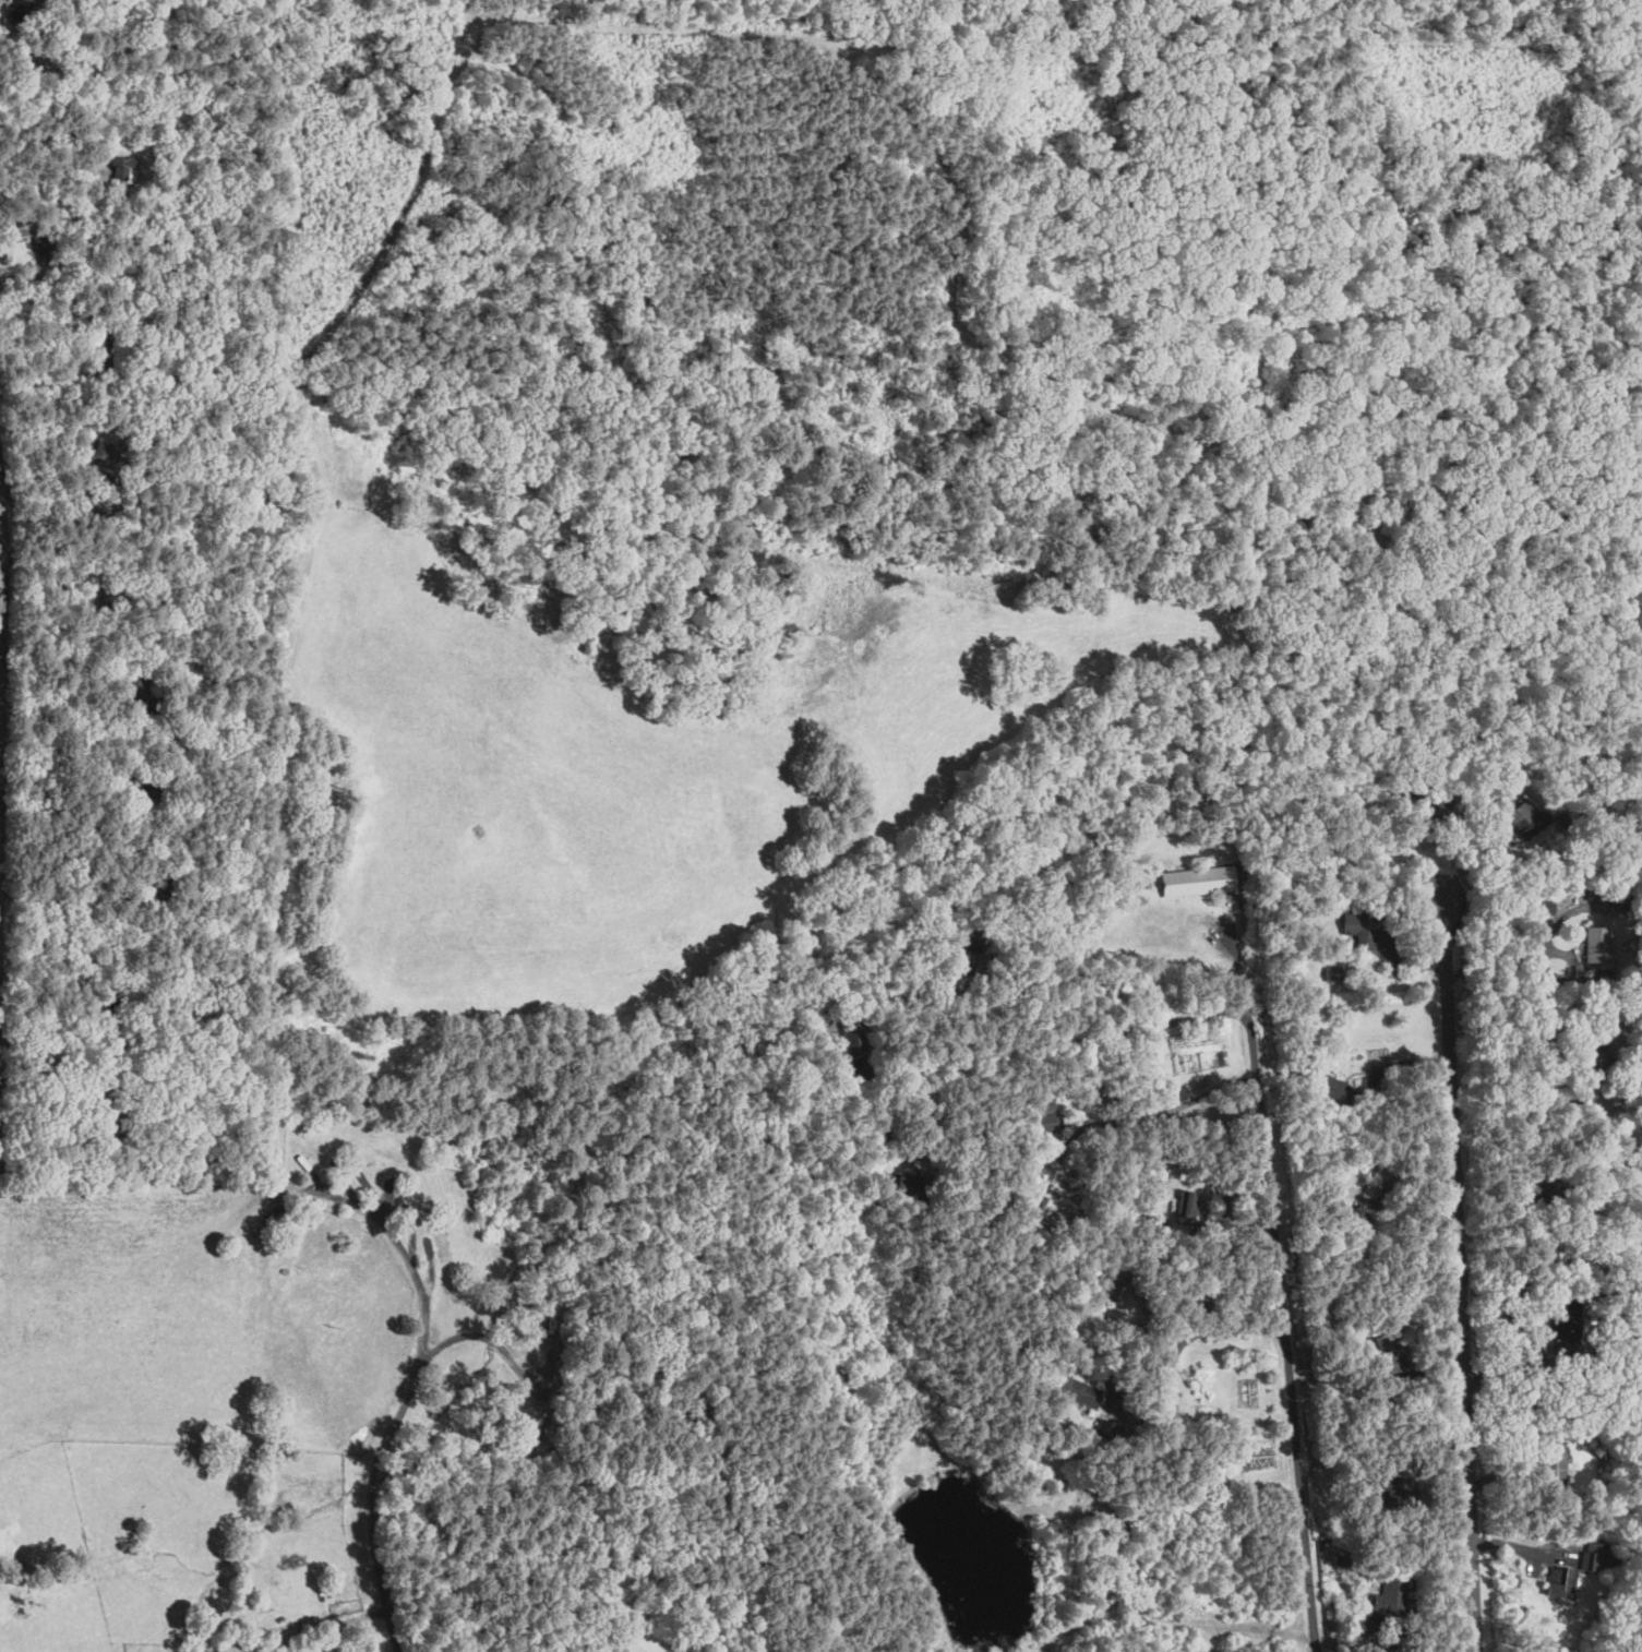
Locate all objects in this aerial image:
road: (64, 214)
road: (15, 764)
building: (1198, 881)
road: (68, 898)
road: (1563, 915)
building: (1597, 946)
road: (1537, 960)
building: (1333, 972)
road: (1078, 1032)
road: (1165, 1112)
building: (445, 1247)
road: (1461, 1280)
building: (1115, 1282)
road: (1273, 1293)
road: (478, 1337)
road: (1179, 1345)
building: (1078, 1390)
road: (397, 1415)
building: (1107, 1425)
building: (1084, 1500)
building: (1568, 1581)
building: (1391, 1596)

